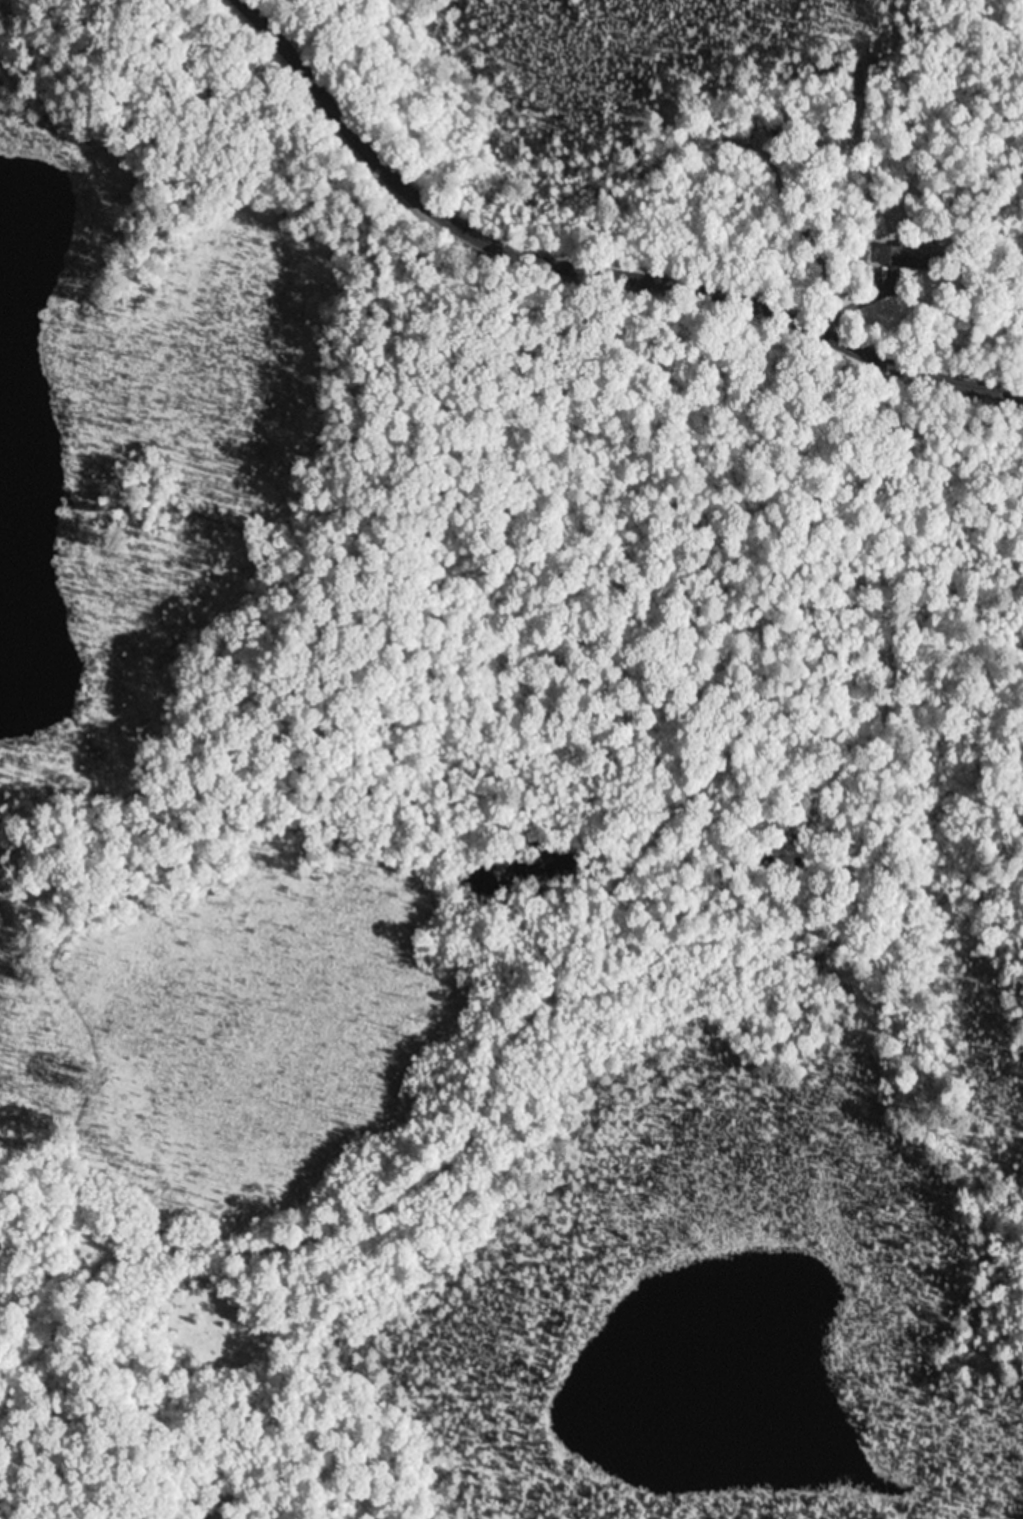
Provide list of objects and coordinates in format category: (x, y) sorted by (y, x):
building: (906, 257)
road: (589, 271)

